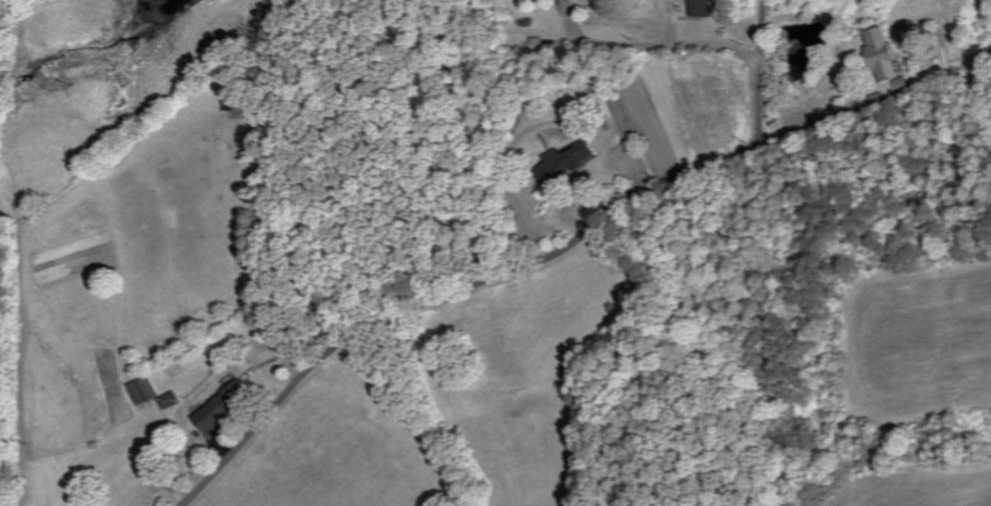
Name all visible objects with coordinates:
building: (598, 0)
building: (704, 9)
building: (884, 56)
building: (571, 164)
road: (517, 270)
building: (145, 390)
building: (171, 400)

